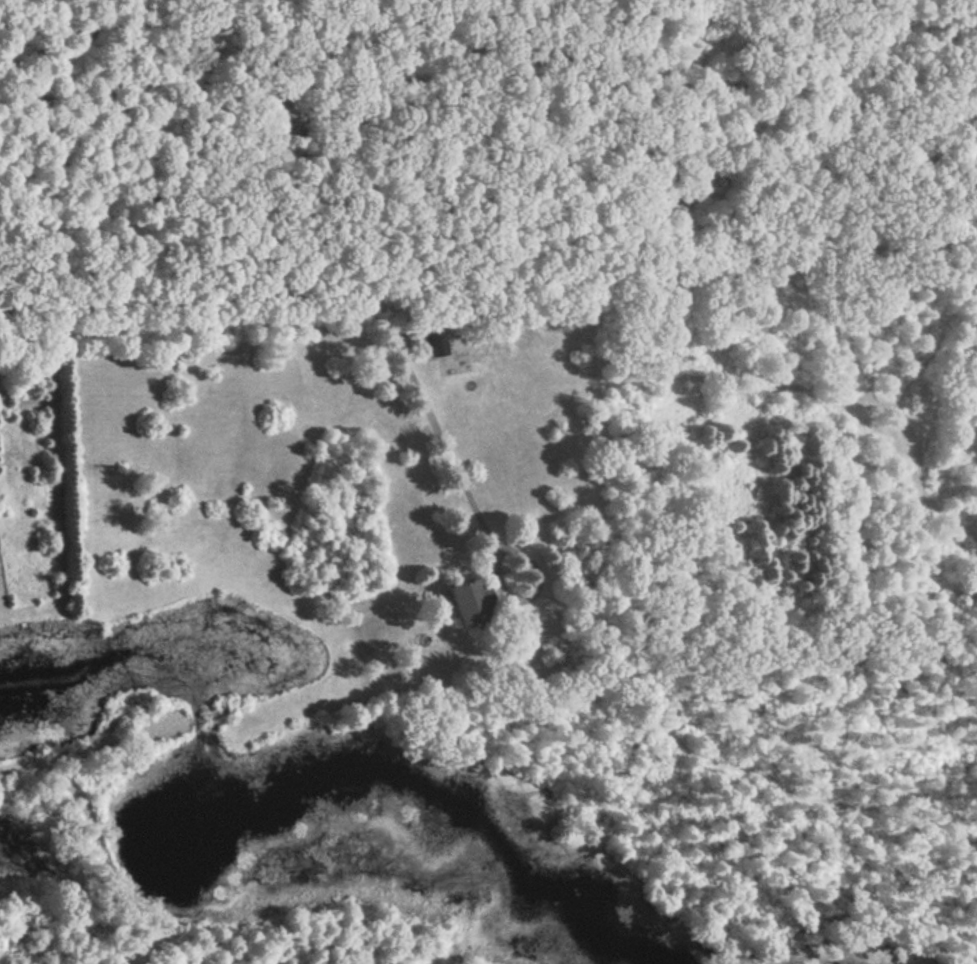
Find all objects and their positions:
road: (344, 293)
building: (433, 339)
road: (550, 409)
building: (467, 601)

